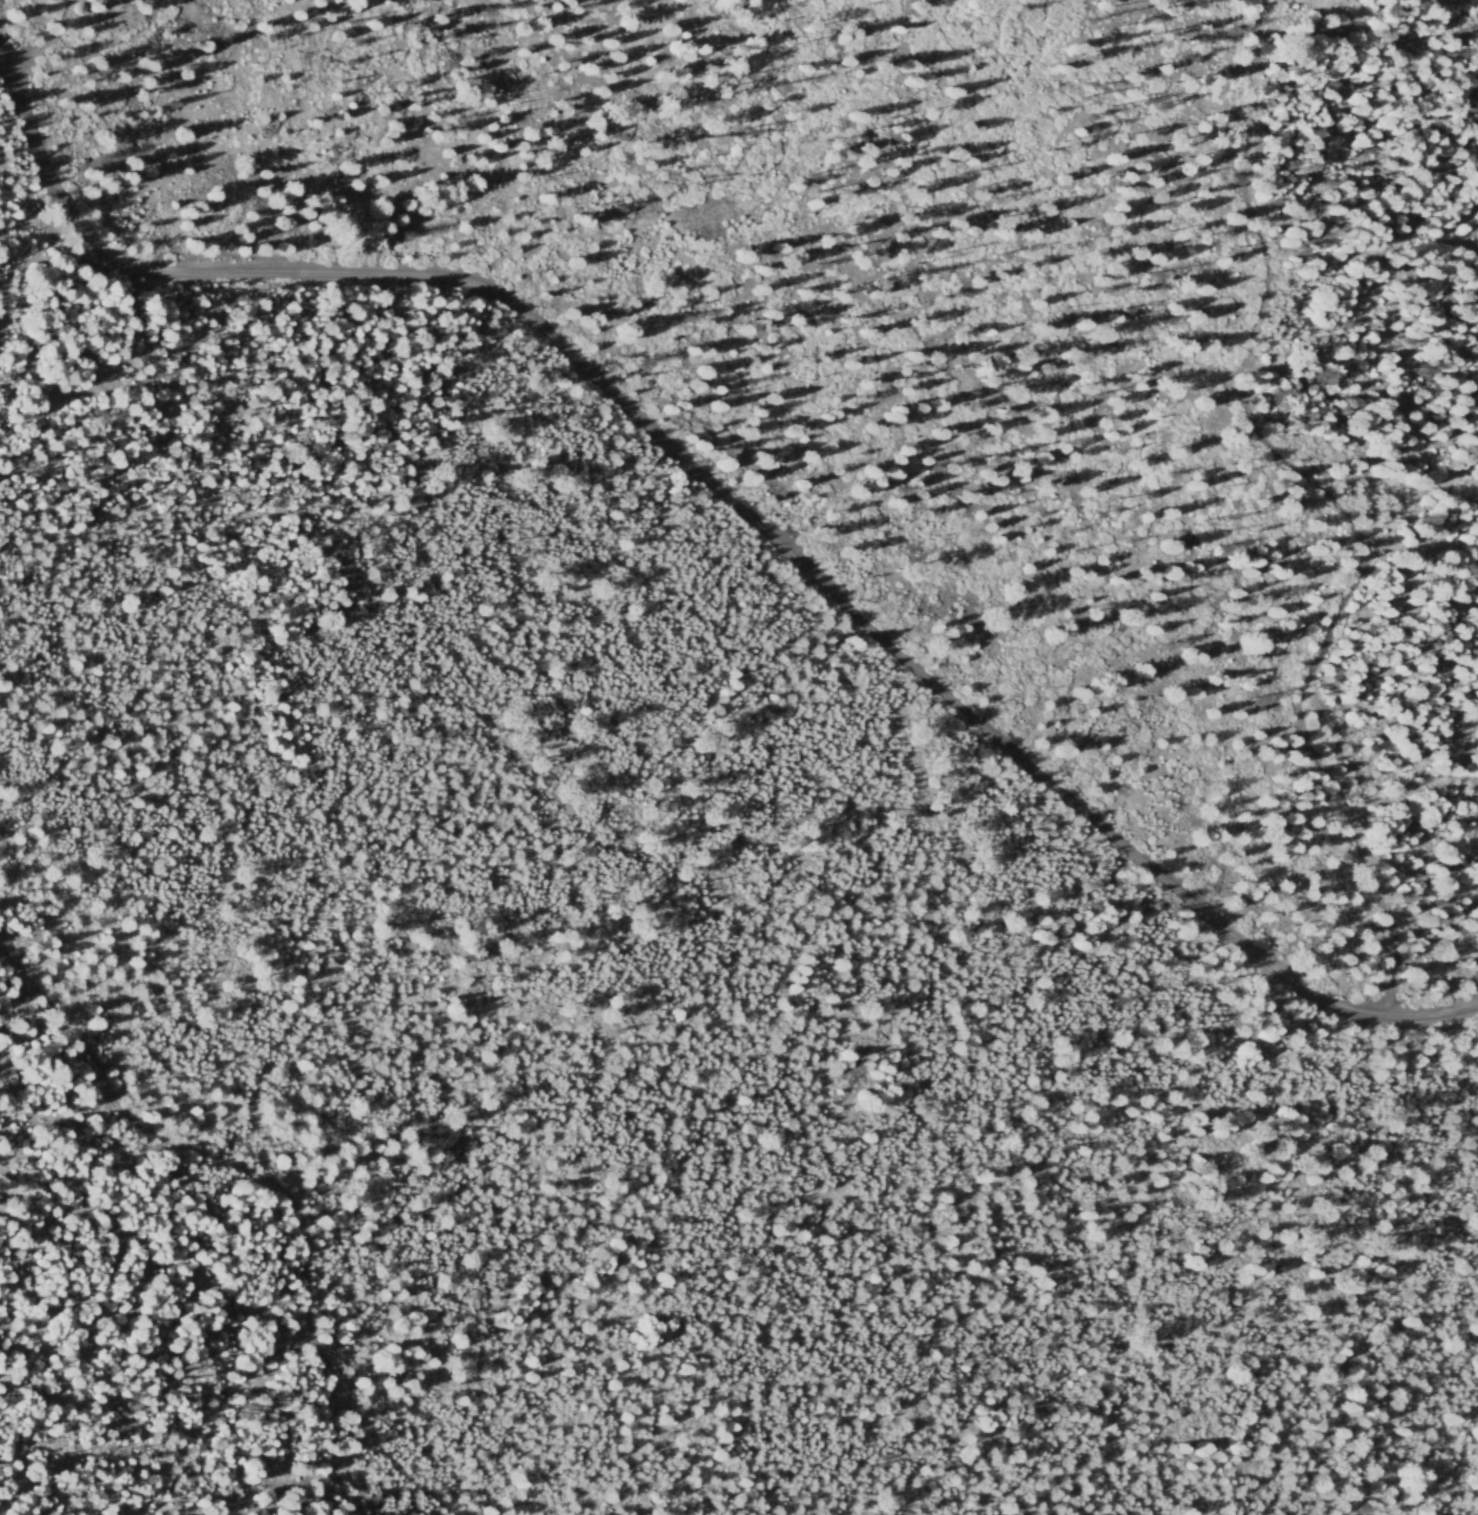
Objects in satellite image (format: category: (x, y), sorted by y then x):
road: (740, 500)
road: (1339, 511)
road: (243, 1226)

